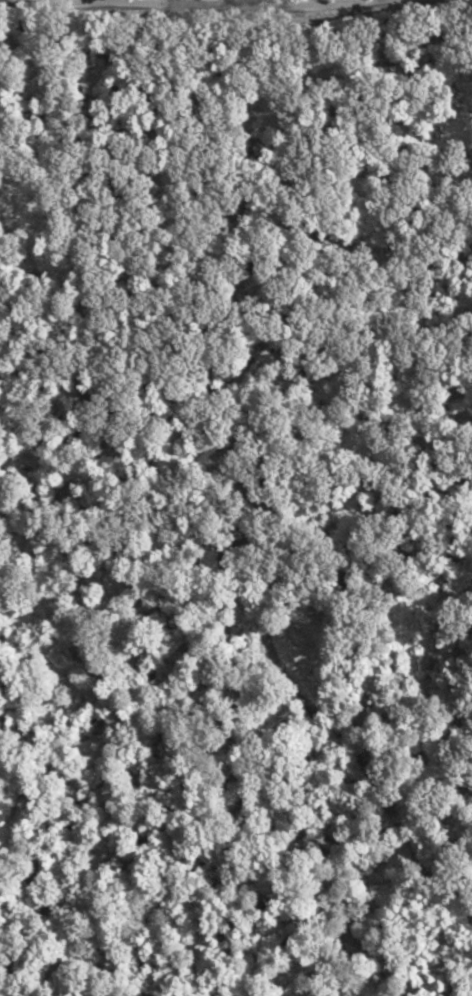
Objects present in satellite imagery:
road: (168, 3)

